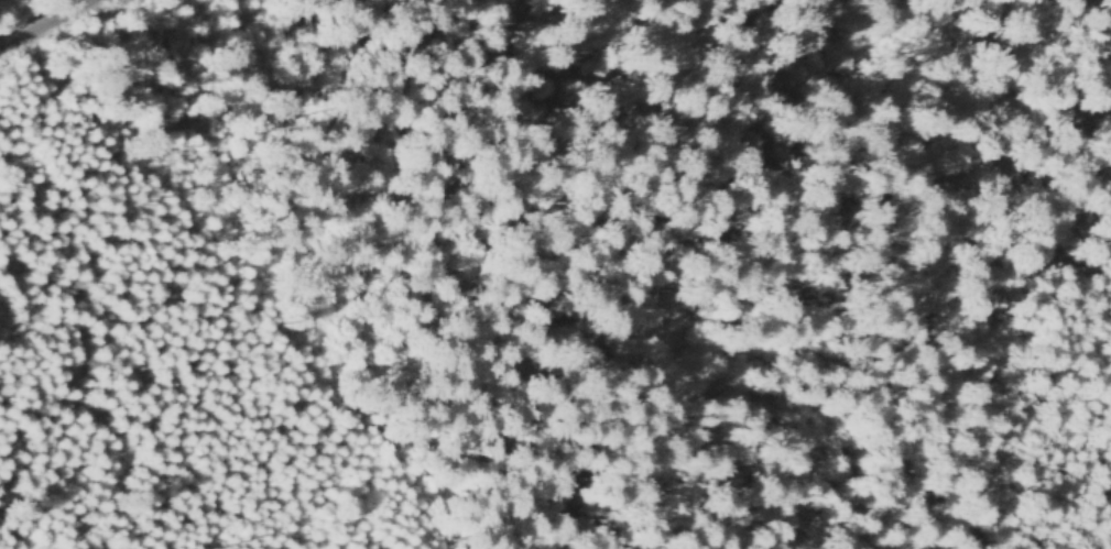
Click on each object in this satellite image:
road: (37, 20)

